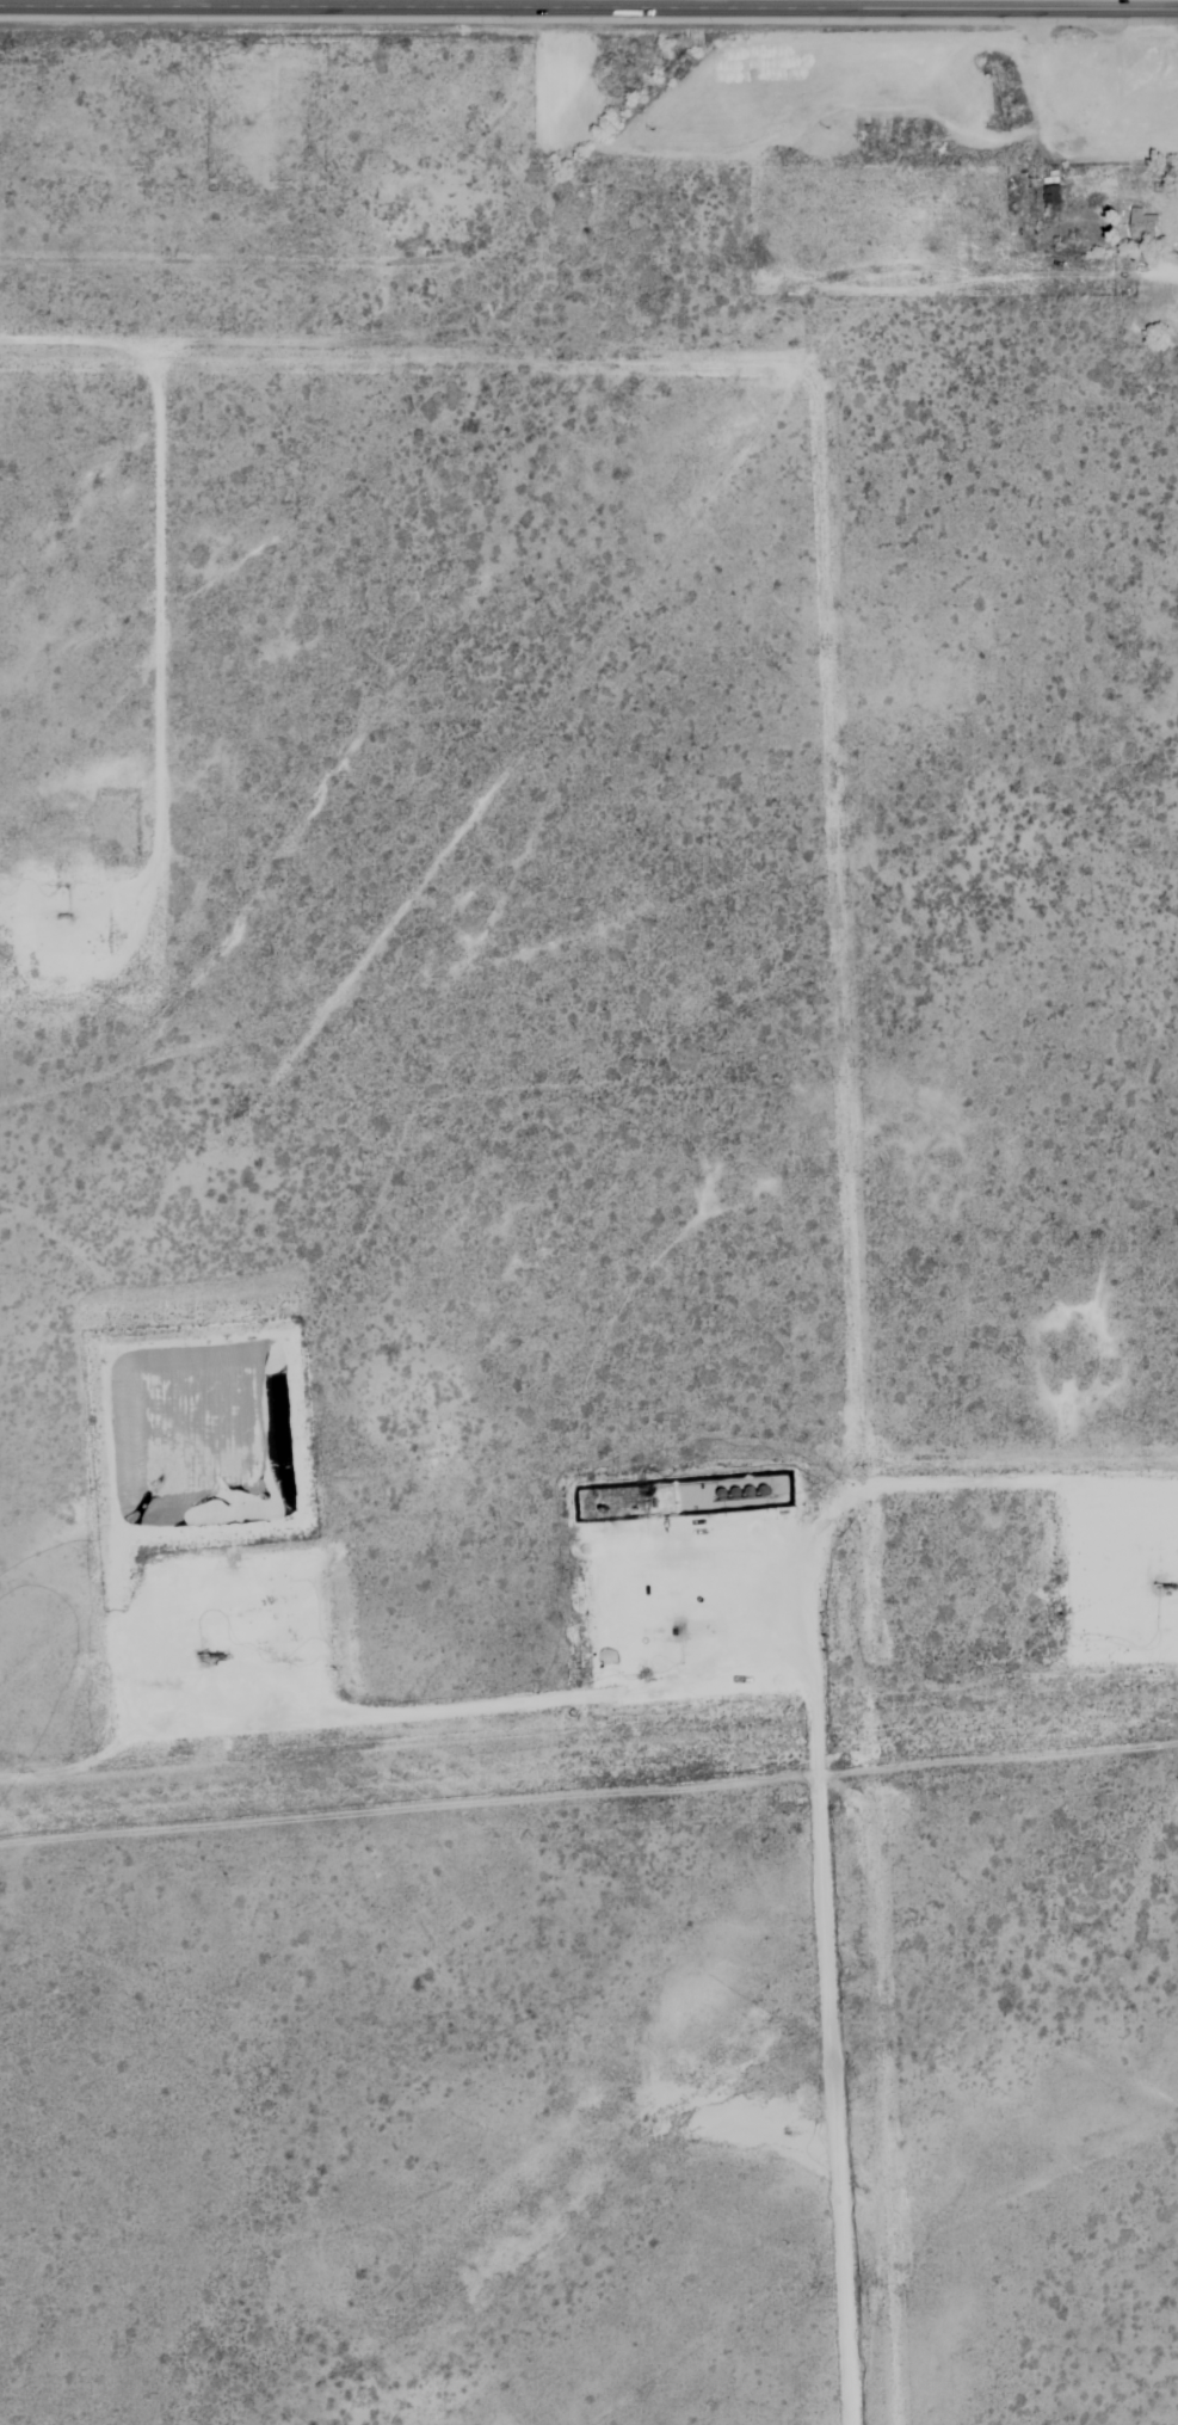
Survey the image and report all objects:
road: (588, 12)
road: (1136, 297)
road: (622, 439)

